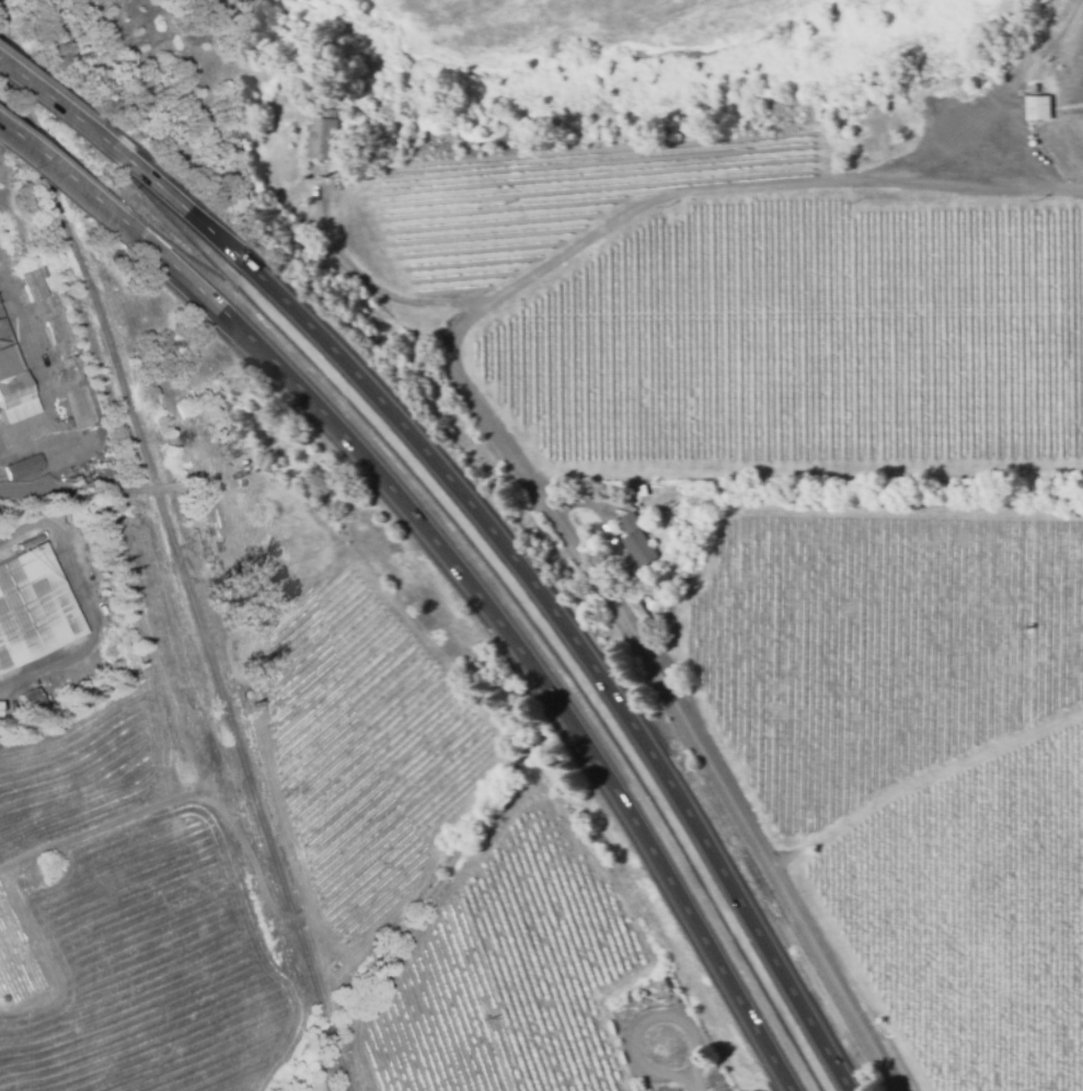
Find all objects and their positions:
building: (1034, 89)
road: (68, 106)
building: (1038, 108)
building: (854, 123)
building: (324, 137)
road: (73, 175)
road: (726, 192)
building: (42, 273)
road: (368, 284)
building: (33, 286)
building: (12, 381)
building: (81, 404)
building: (23, 468)
building: (642, 489)
road: (92, 492)
building: (636, 542)
railway: (175, 552)
road: (538, 589)
road: (85, 602)
building: (32, 609)
road: (507, 632)
building: (255, 666)
building: (28, 699)
road: (687, 726)
road: (83, 834)
road: (680, 1068)

